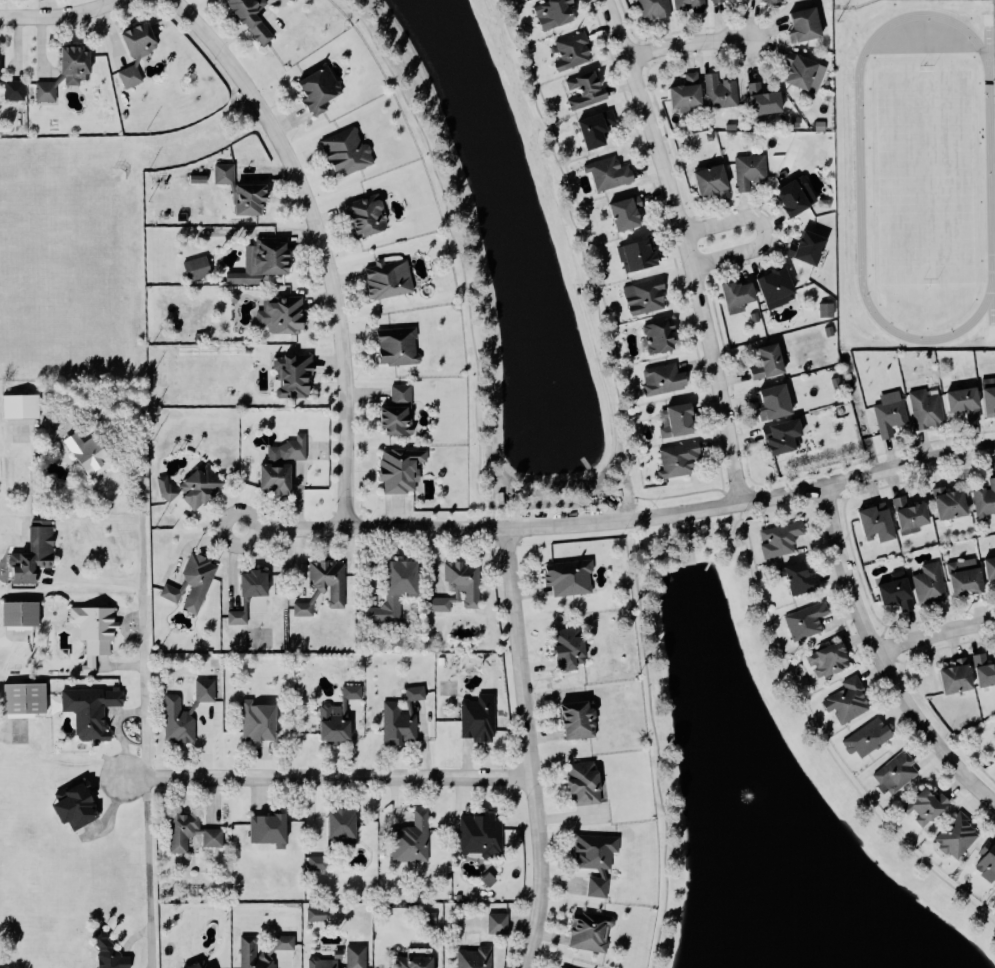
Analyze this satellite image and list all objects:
building: (724, 0)
building: (773, 0)
building: (693, 4)
building: (657, 8)
building: (559, 12)
road: (58, 15)
building: (255, 18)
building: (808, 24)
building: (142, 40)
road: (686, 42)
building: (575, 51)
building: (1, 62)
building: (77, 64)
building: (807, 72)
building: (132, 76)
building: (16, 89)
building: (322, 89)
building: (586, 90)
building: (48, 91)
building: (689, 92)
building: (722, 92)
building: (767, 100)
building: (795, 123)
building: (819, 127)
building: (599, 128)
building: (731, 128)
building: (710, 138)
building: (350, 151)
building: (751, 171)
building: (226, 173)
building: (612, 173)
track: (861, 177)
building: (711, 182)
building: (799, 196)
building: (253, 198)
building: (630, 213)
building: (369, 216)
road: (764, 229)
road: (320, 243)
road: (687, 247)
building: (811, 247)
building: (640, 255)
building: (269, 259)
building: (200, 268)
building: (391, 279)
building: (779, 287)
building: (741, 295)
building: (647, 297)
building: (826, 311)
building: (285, 315)
building: (755, 318)
building: (828, 332)
building: (661, 337)
building: (400, 346)
building: (772, 362)
building: (296, 375)
building: (666, 379)
fountain: (553, 382)
building: (990, 396)
building: (968, 402)
building: (778, 403)
building: (23, 406)
building: (928, 409)
building: (400, 411)
building: (893, 413)
building: (680, 421)
building: (785, 436)
building: (92, 455)
building: (682, 458)
building: (284, 465)
building: (404, 469)
road: (299, 482)
building: (203, 486)
building: (168, 488)
road: (680, 495)
road: (541, 499)
building: (986, 501)
building: (953, 503)
road: (788, 509)
road: (742, 510)
building: (913, 515)
road: (516, 516)
road: (669, 519)
road: (621, 520)
building: (880, 522)
road: (735, 524)
building: (782, 539)
building: (36, 553)
road: (651, 555)
building: (991, 568)
building: (572, 577)
building: (800, 577)
building: (968, 577)
building: (200, 581)
building: (466, 581)
road: (96, 582)
building: (933, 583)
building: (257, 584)
building: (327, 586)
building: (398, 590)
building: (174, 593)
building: (900, 593)
building: (442, 604)
building: (23, 614)
building: (239, 618)
building: (809, 621)
building: (97, 632)
road: (935, 633)
building: (572, 649)
road: (881, 658)
building: (832, 660)
building: (986, 670)
building: (960, 677)
building: (207, 690)
building: (417, 694)
building: (28, 699)
building: (851, 701)
building: (93, 711)
road: (807, 714)
building: (341, 716)
building: (481, 718)
building: (581, 720)
building: (180, 721)
building: (261, 721)
building: (401, 723)
road: (143, 732)
building: (867, 739)
road: (529, 748)
road: (657, 762)
building: (898, 773)
road: (327, 777)
building: (587, 784)
fountain: (747, 793)
building: (79, 806)
building: (929, 807)
building: (345, 824)
building: (271, 830)
building: (194, 834)
building: (483, 835)
building: (960, 836)
building: (415, 840)
building: (599, 860)
building: (988, 862)
building: (320, 863)
building: (319, 914)
building: (500, 923)
building: (592, 932)
building: (111, 952)
building: (256, 955)
building: (358, 957)
building: (477, 958)
building: (417, 962)
building: (326, 963)
building: (202, 966)
building: (216, 967)

